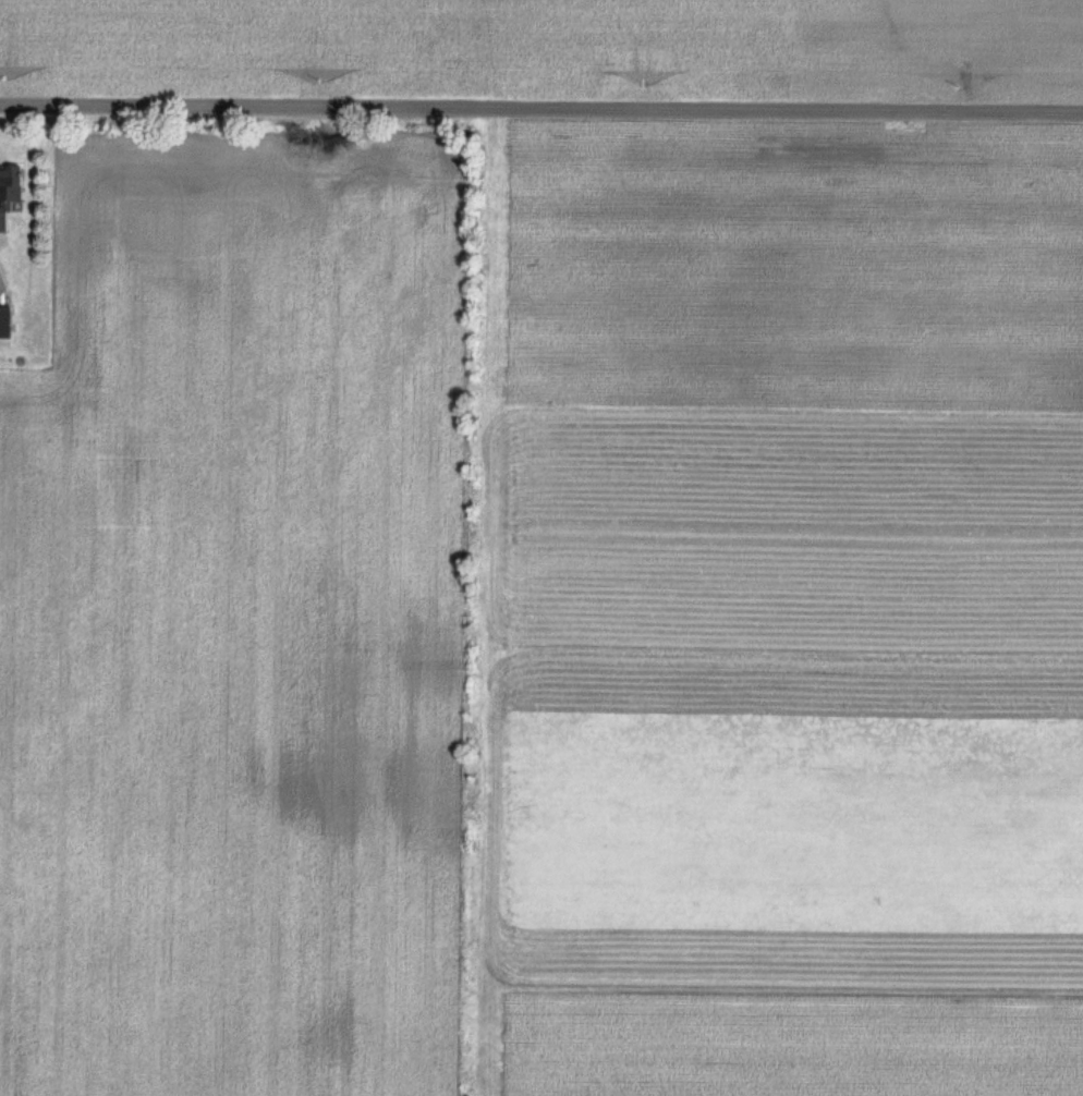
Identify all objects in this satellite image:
road: (540, 109)
building: (10, 192)
building: (5, 321)

